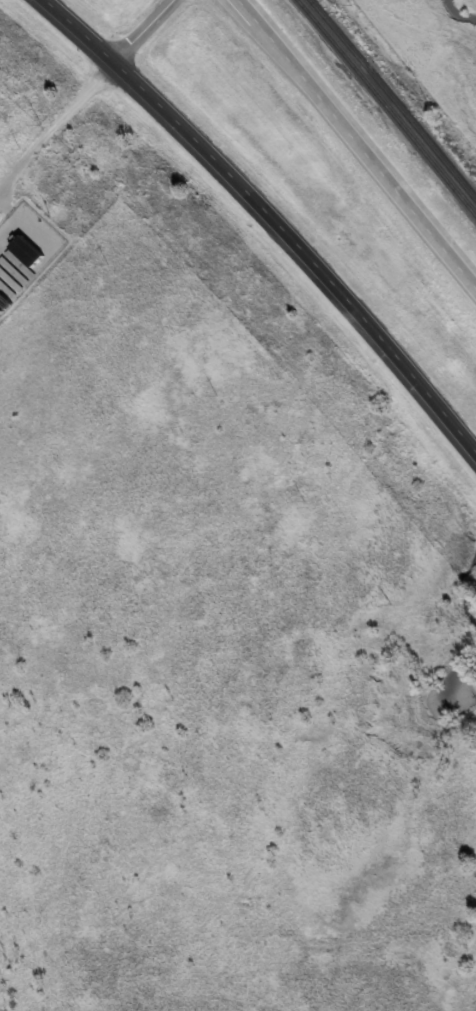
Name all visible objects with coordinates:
road: (144, 28)
railway: (393, 99)
railway: (384, 109)
road: (361, 134)
road: (275, 213)
building: (26, 251)

